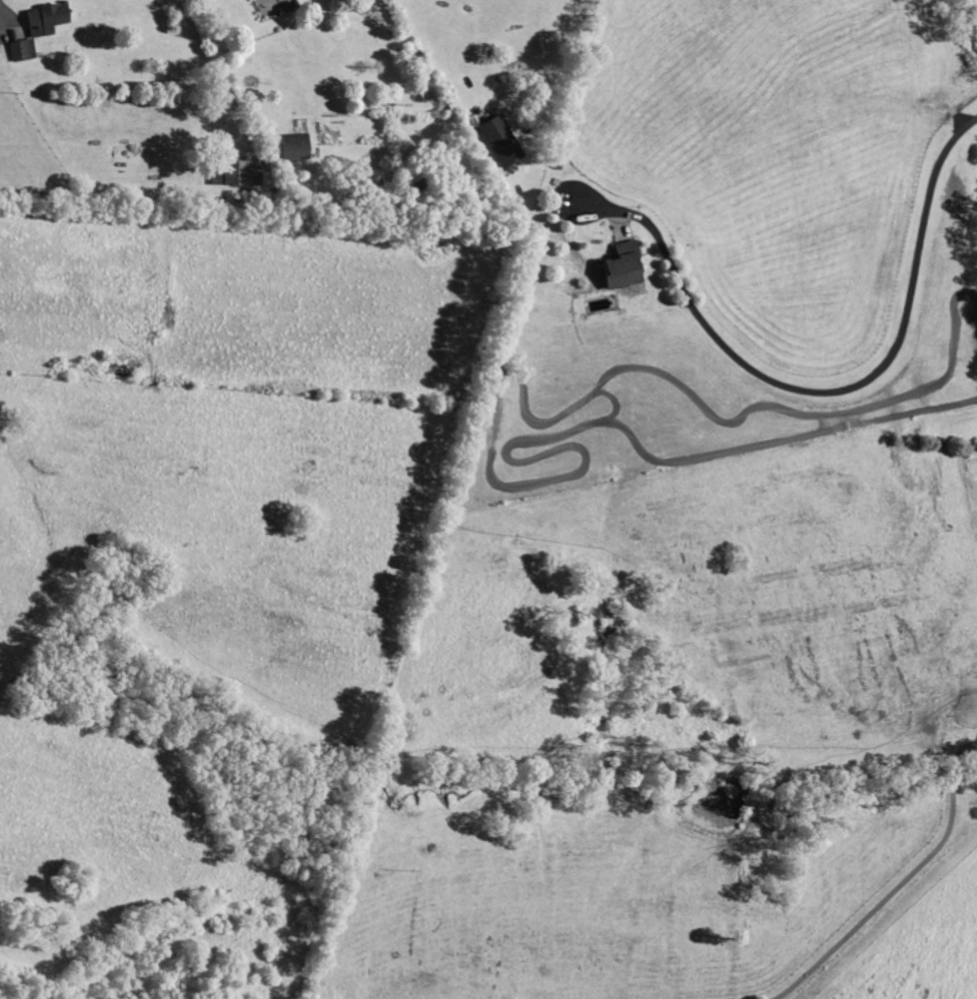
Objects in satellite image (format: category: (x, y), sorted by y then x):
building: (44, 20)
building: (20, 51)
building: (498, 140)
building: (292, 146)
building: (236, 173)
building: (620, 266)
road: (828, 392)
road: (904, 880)

